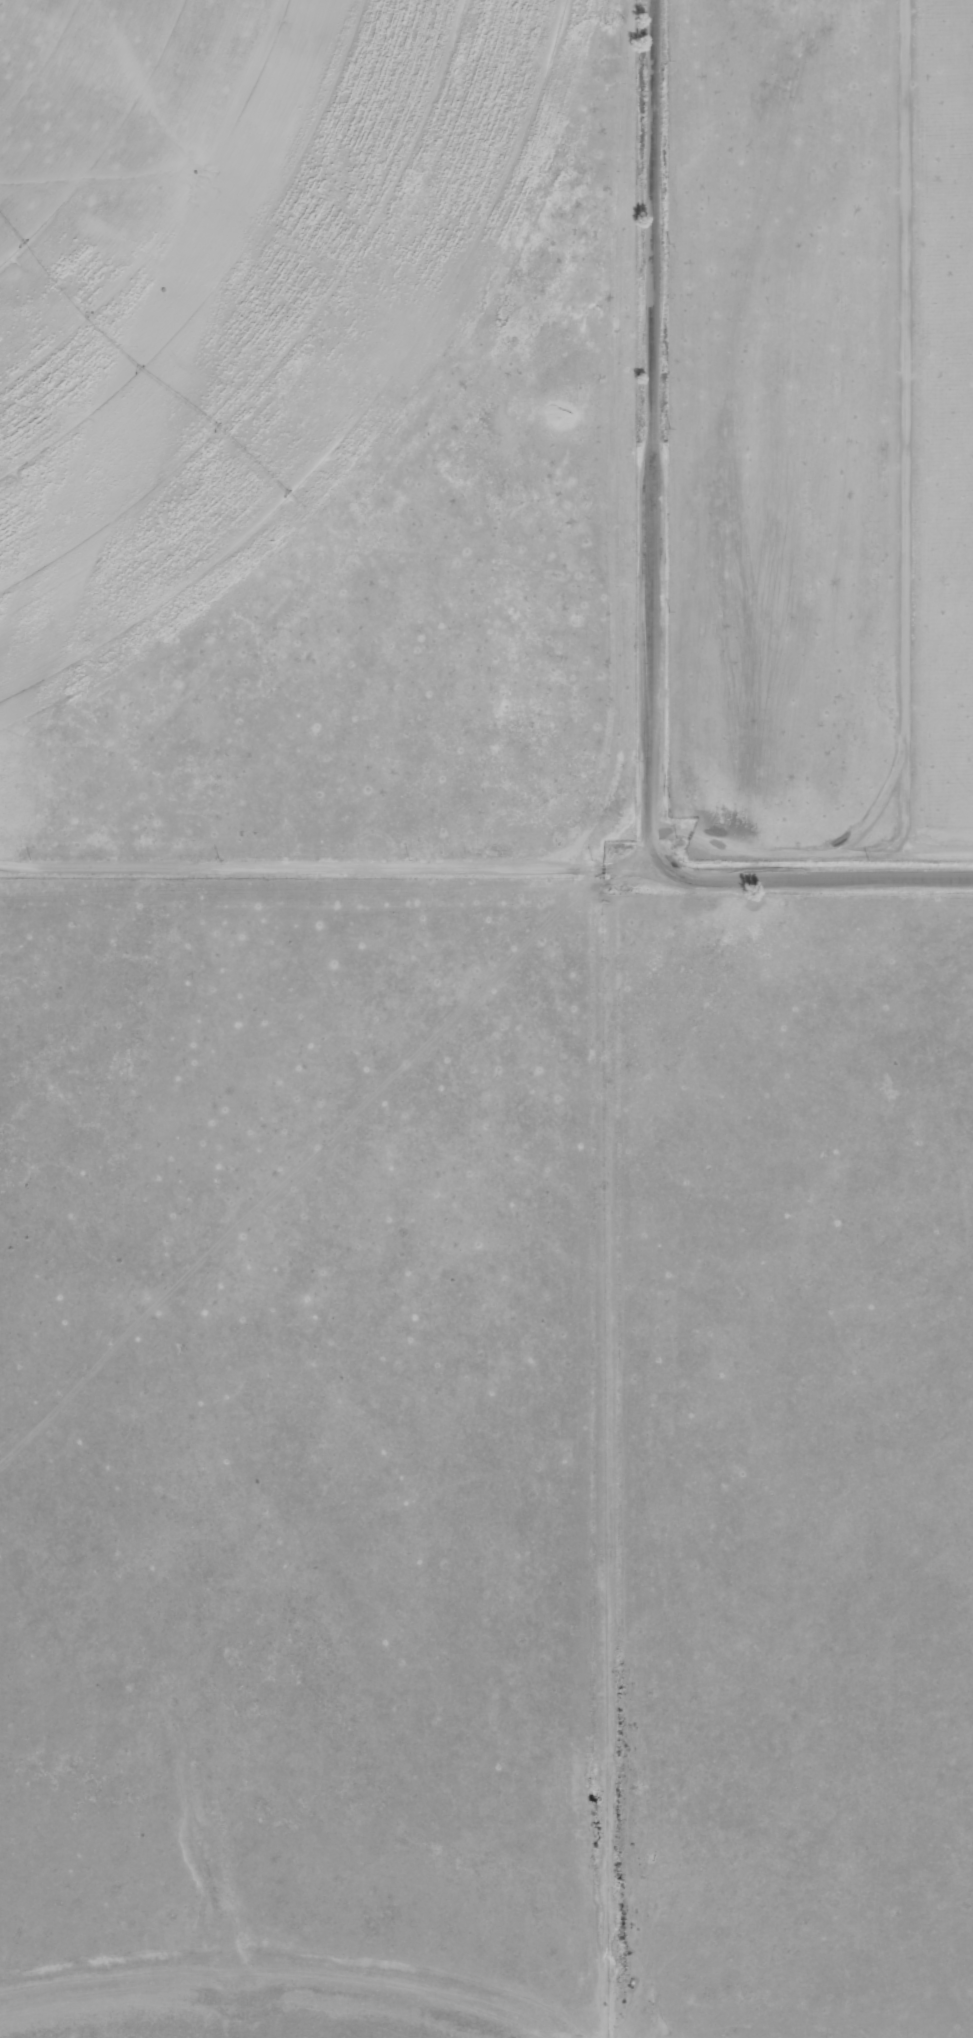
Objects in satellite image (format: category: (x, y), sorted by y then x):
road: (648, 219)
road: (648, 806)

